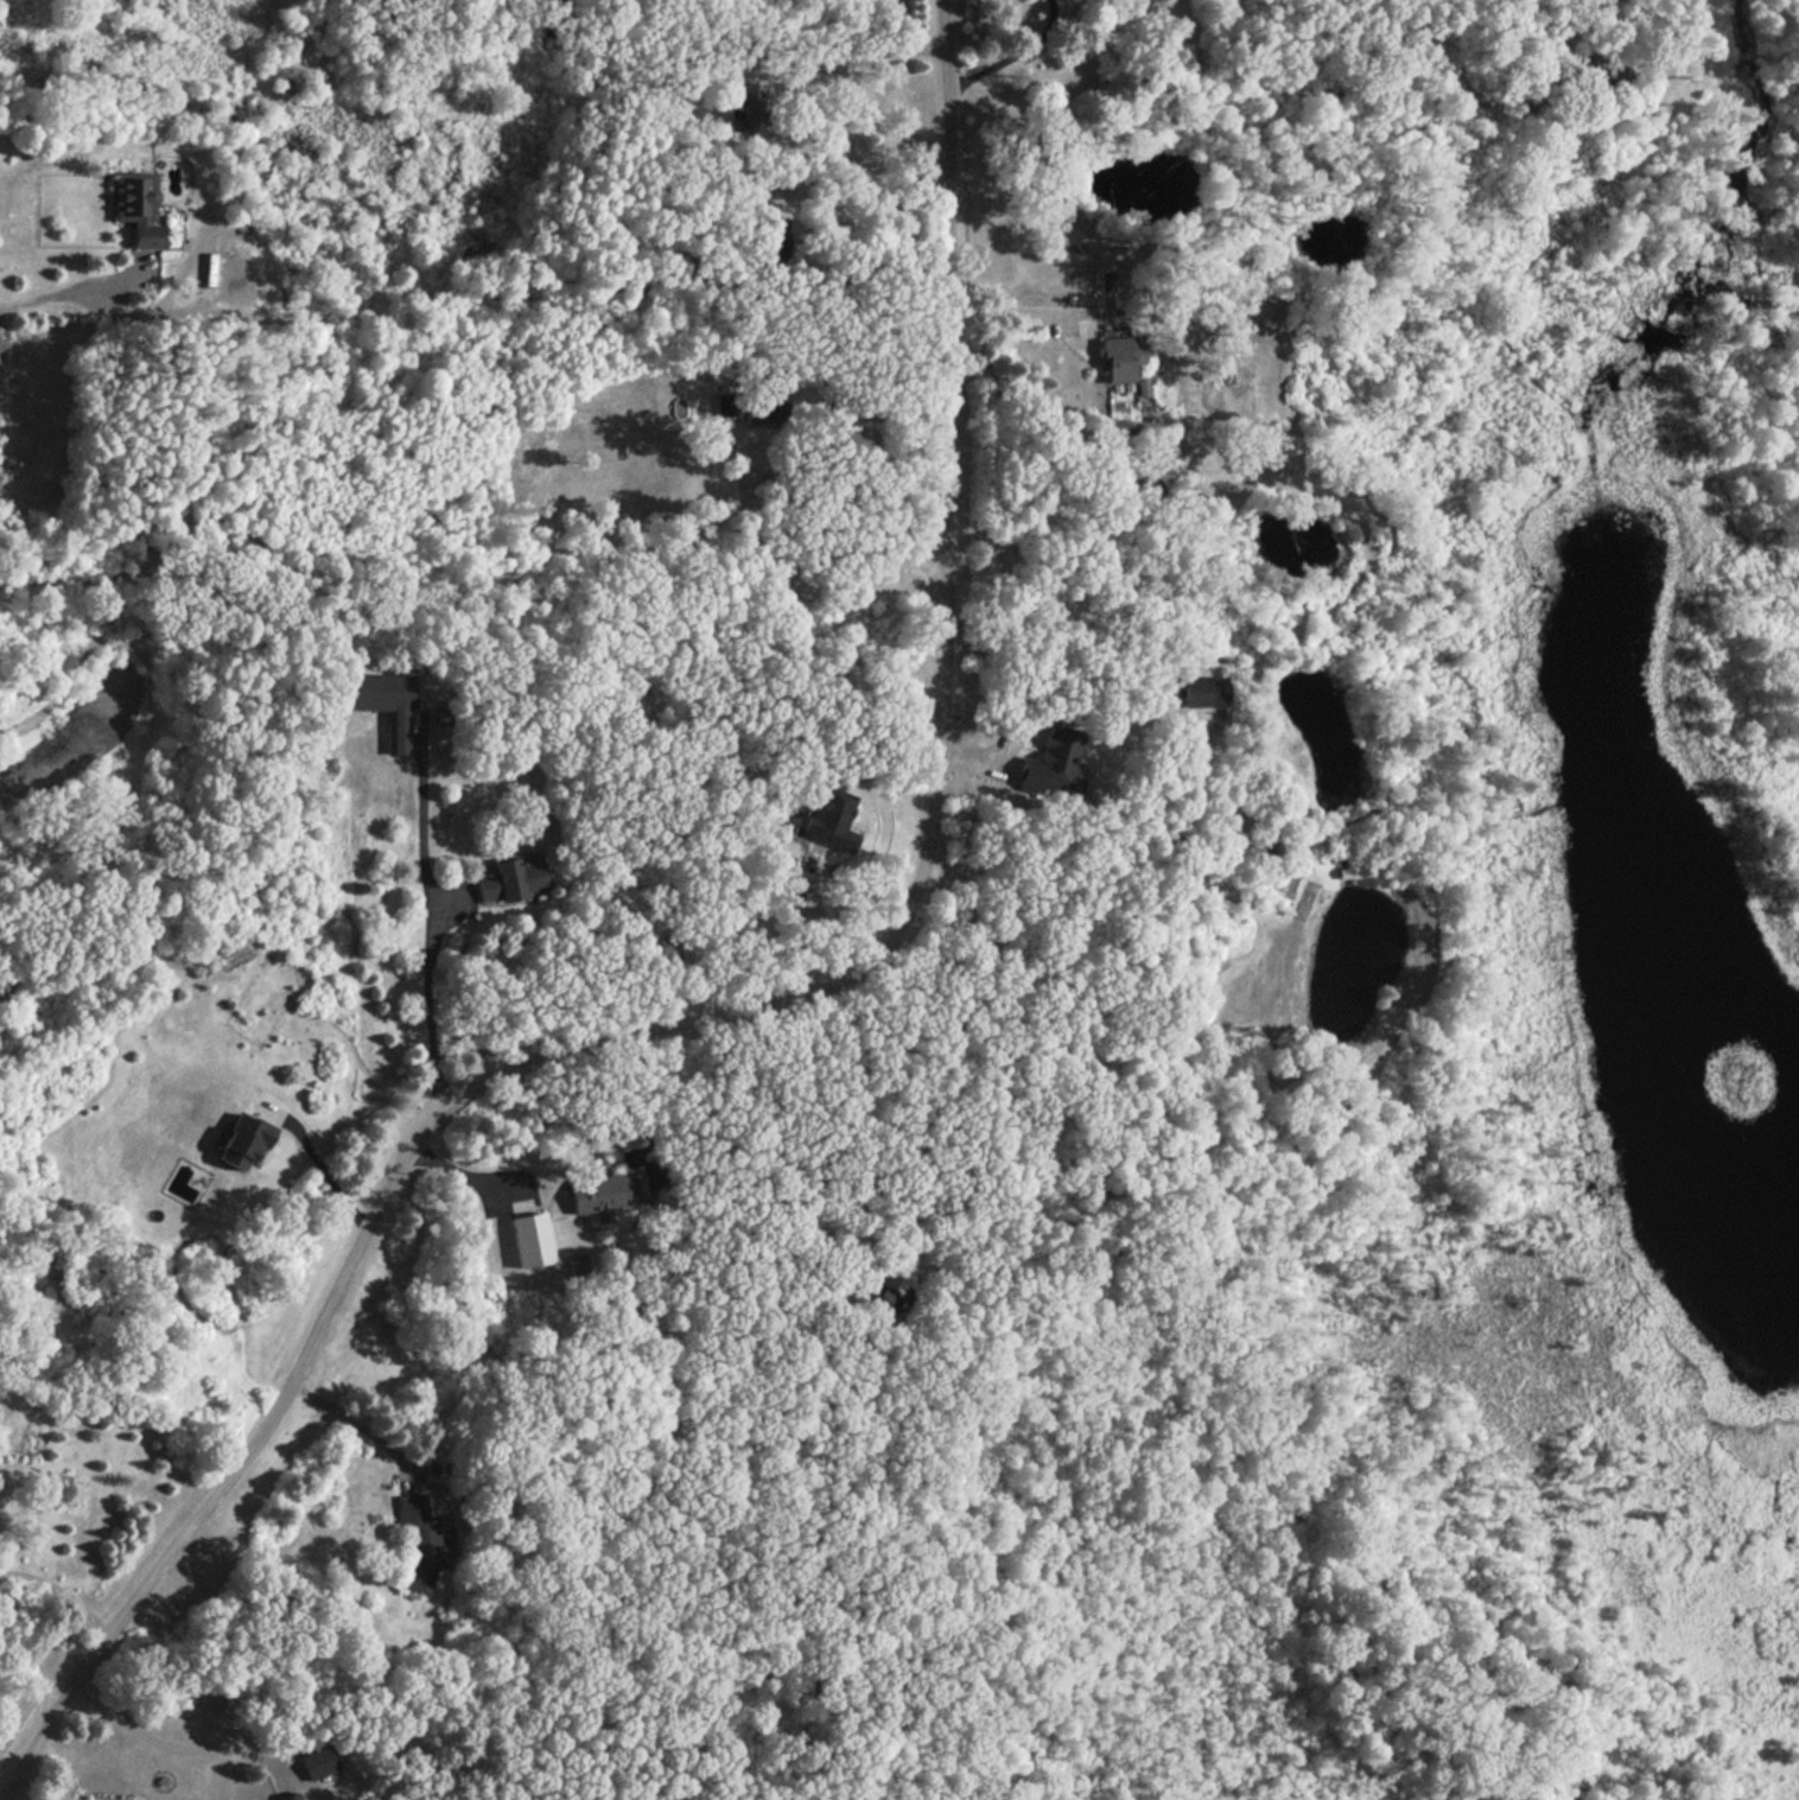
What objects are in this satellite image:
road: (1616, 49)
road: (854, 65)
road: (977, 70)
building: (749, 107)
building: (135, 205)
building: (776, 238)
road: (870, 276)
road: (75, 290)
road: (1012, 311)
building: (1119, 354)
building: (751, 405)
building: (858, 440)
road: (796, 568)
road: (1043, 681)
building: (1203, 689)
building: (389, 701)
building: (1051, 762)
building: (829, 819)
building: (510, 879)
building: (792, 893)
road: (427, 927)
road: (688, 1023)
road: (637, 1102)
road: (756, 1137)
building: (244, 1140)
road: (326, 1160)
building: (605, 1196)
building: (530, 1238)
building: (579, 1261)
building: (884, 1290)
road: (357, 1420)
building: (419, 1543)
road: (59, 1590)
road: (169, 1743)
building: (319, 1761)
building: (290, 1796)

